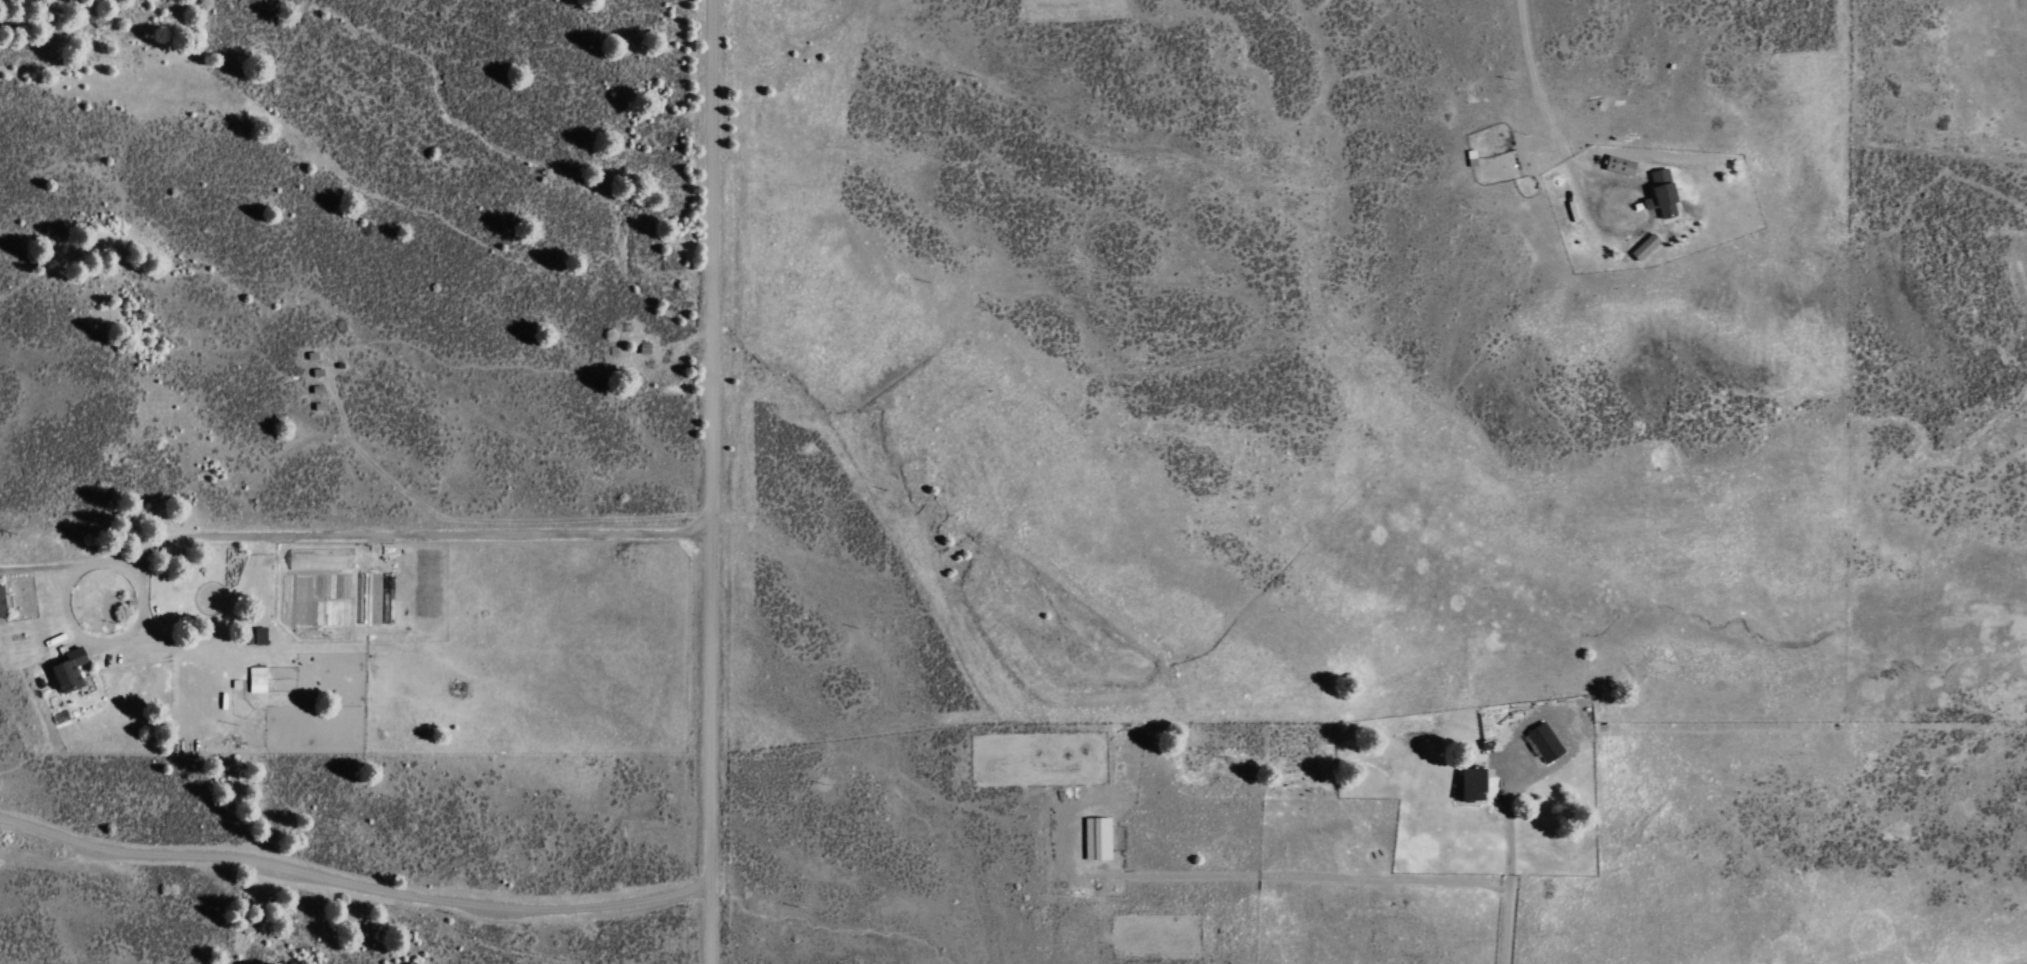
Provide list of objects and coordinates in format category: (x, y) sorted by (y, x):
road: (1543, 112)
building: (1617, 165)
building: (1659, 193)
building: (1643, 246)
crop: (1175, 455)
road: (712, 482)
building: (0, 602)
building: (254, 636)
building: (66, 669)
building: (255, 678)
building: (1541, 741)
building: (1470, 782)
building: (1095, 837)

